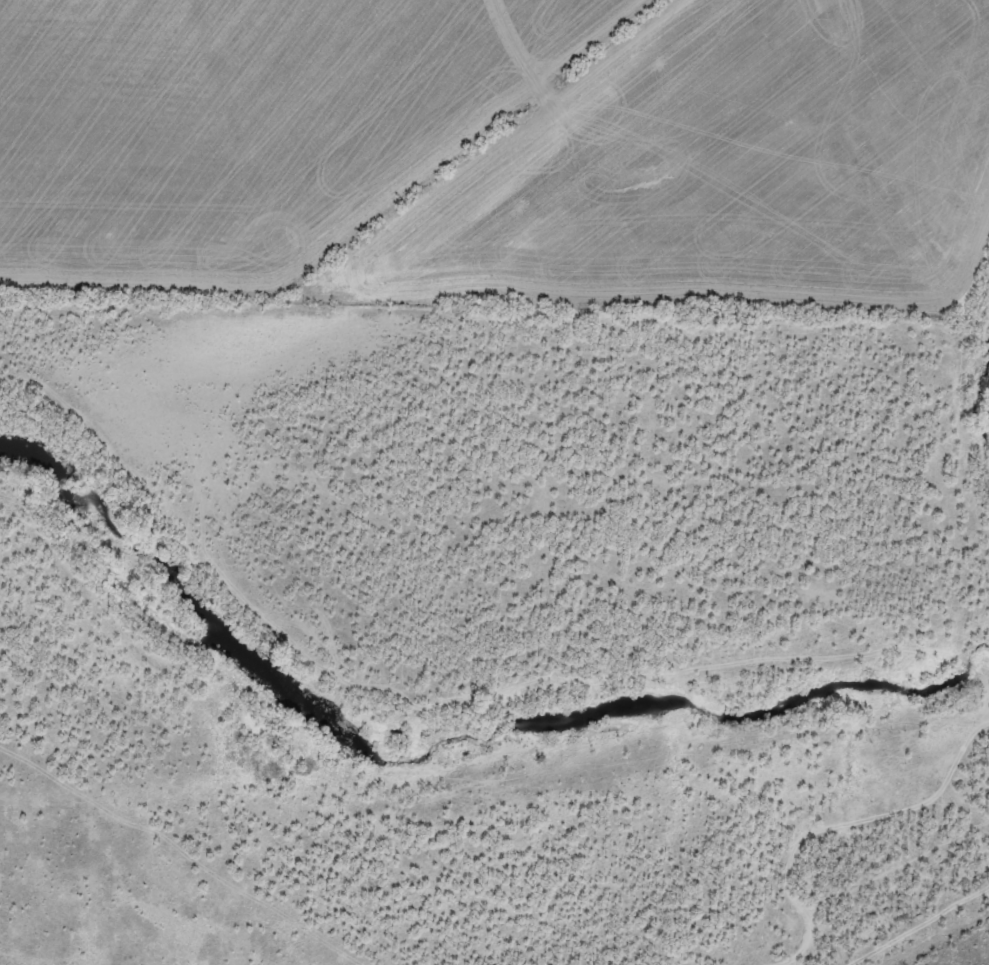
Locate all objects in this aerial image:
railway: (908, 918)

